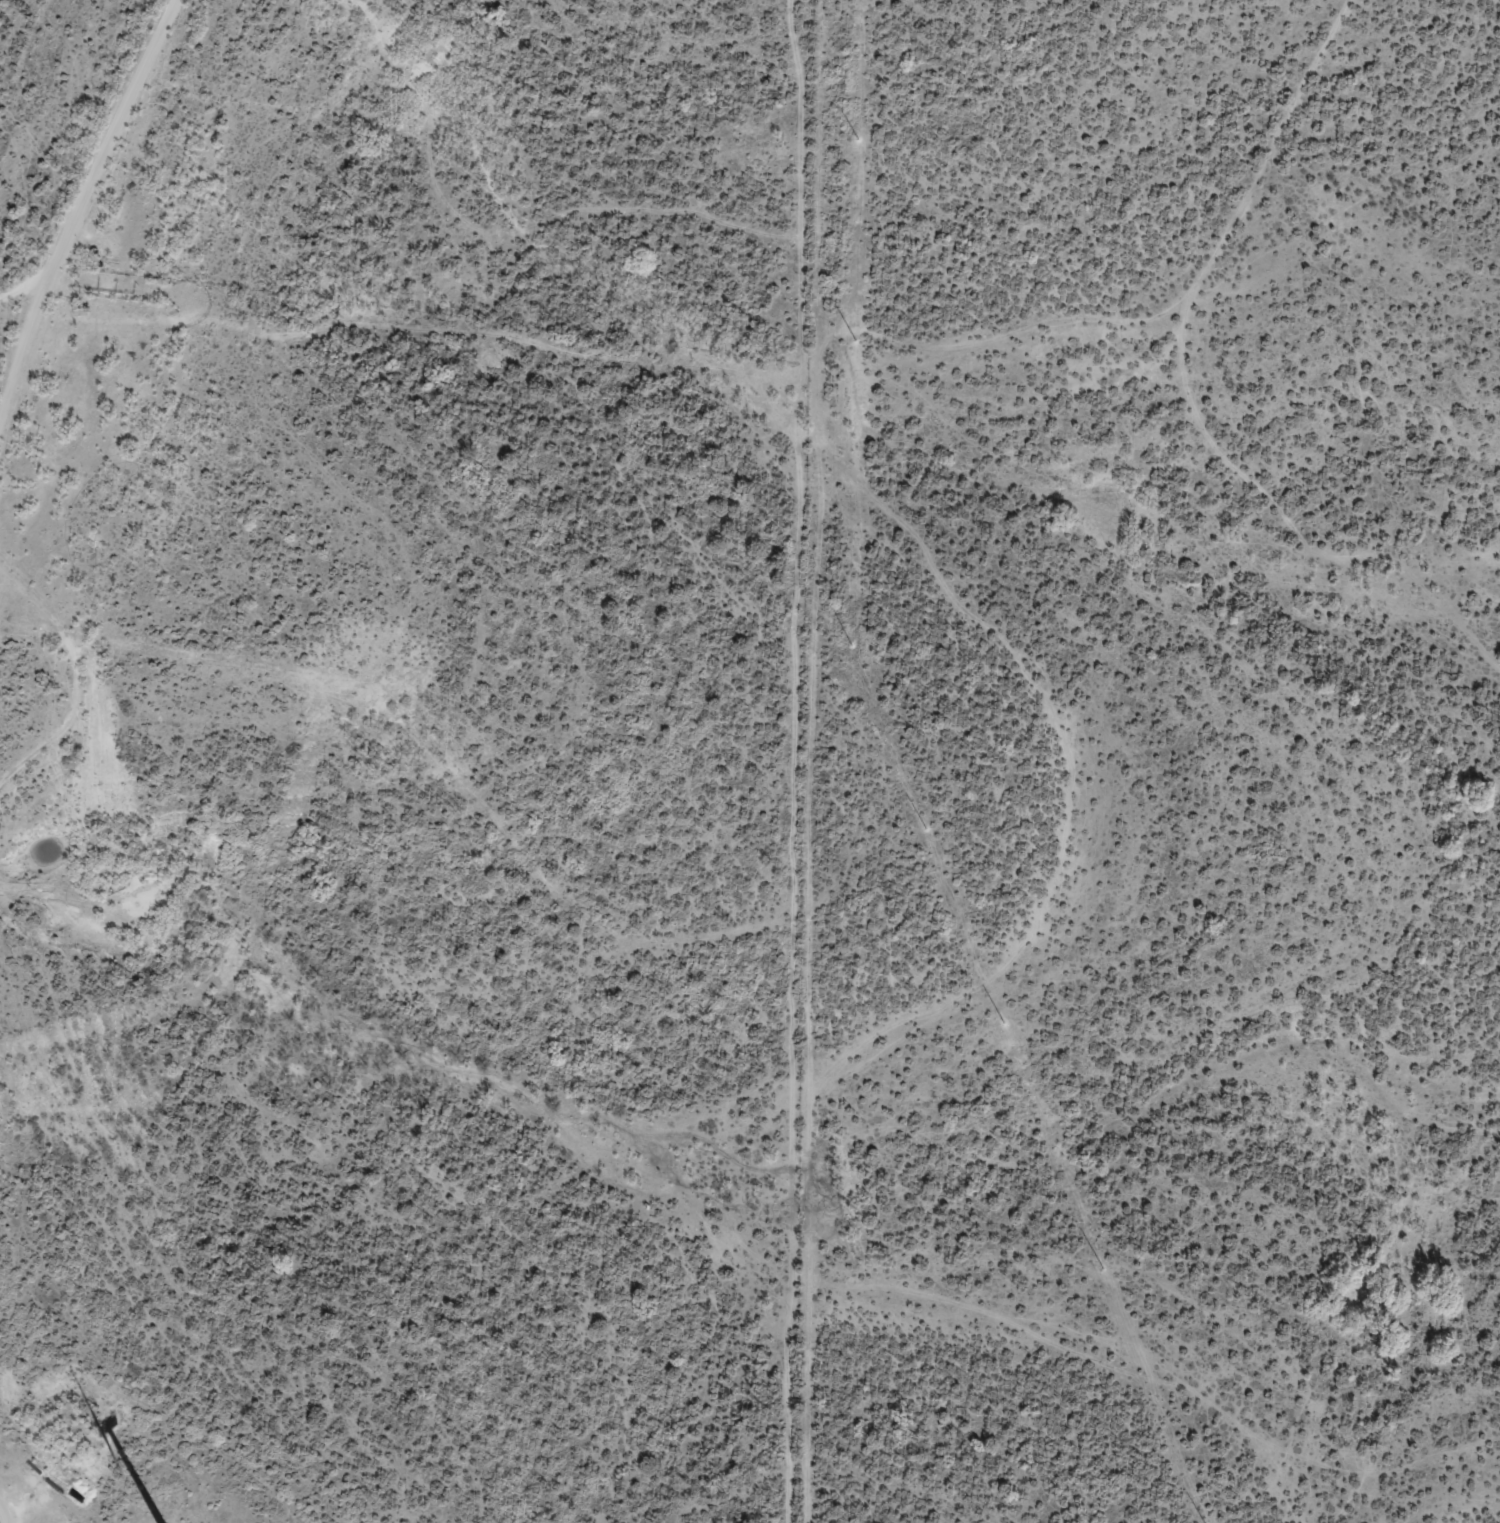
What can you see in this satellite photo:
power tower: (856, 138)
road: (124, 182)
power tower: (853, 340)
power tower: (849, 645)
road: (208, 670)
power tower: (924, 830)
power tower: (1002, 1024)
power tower: (1102, 1269)

